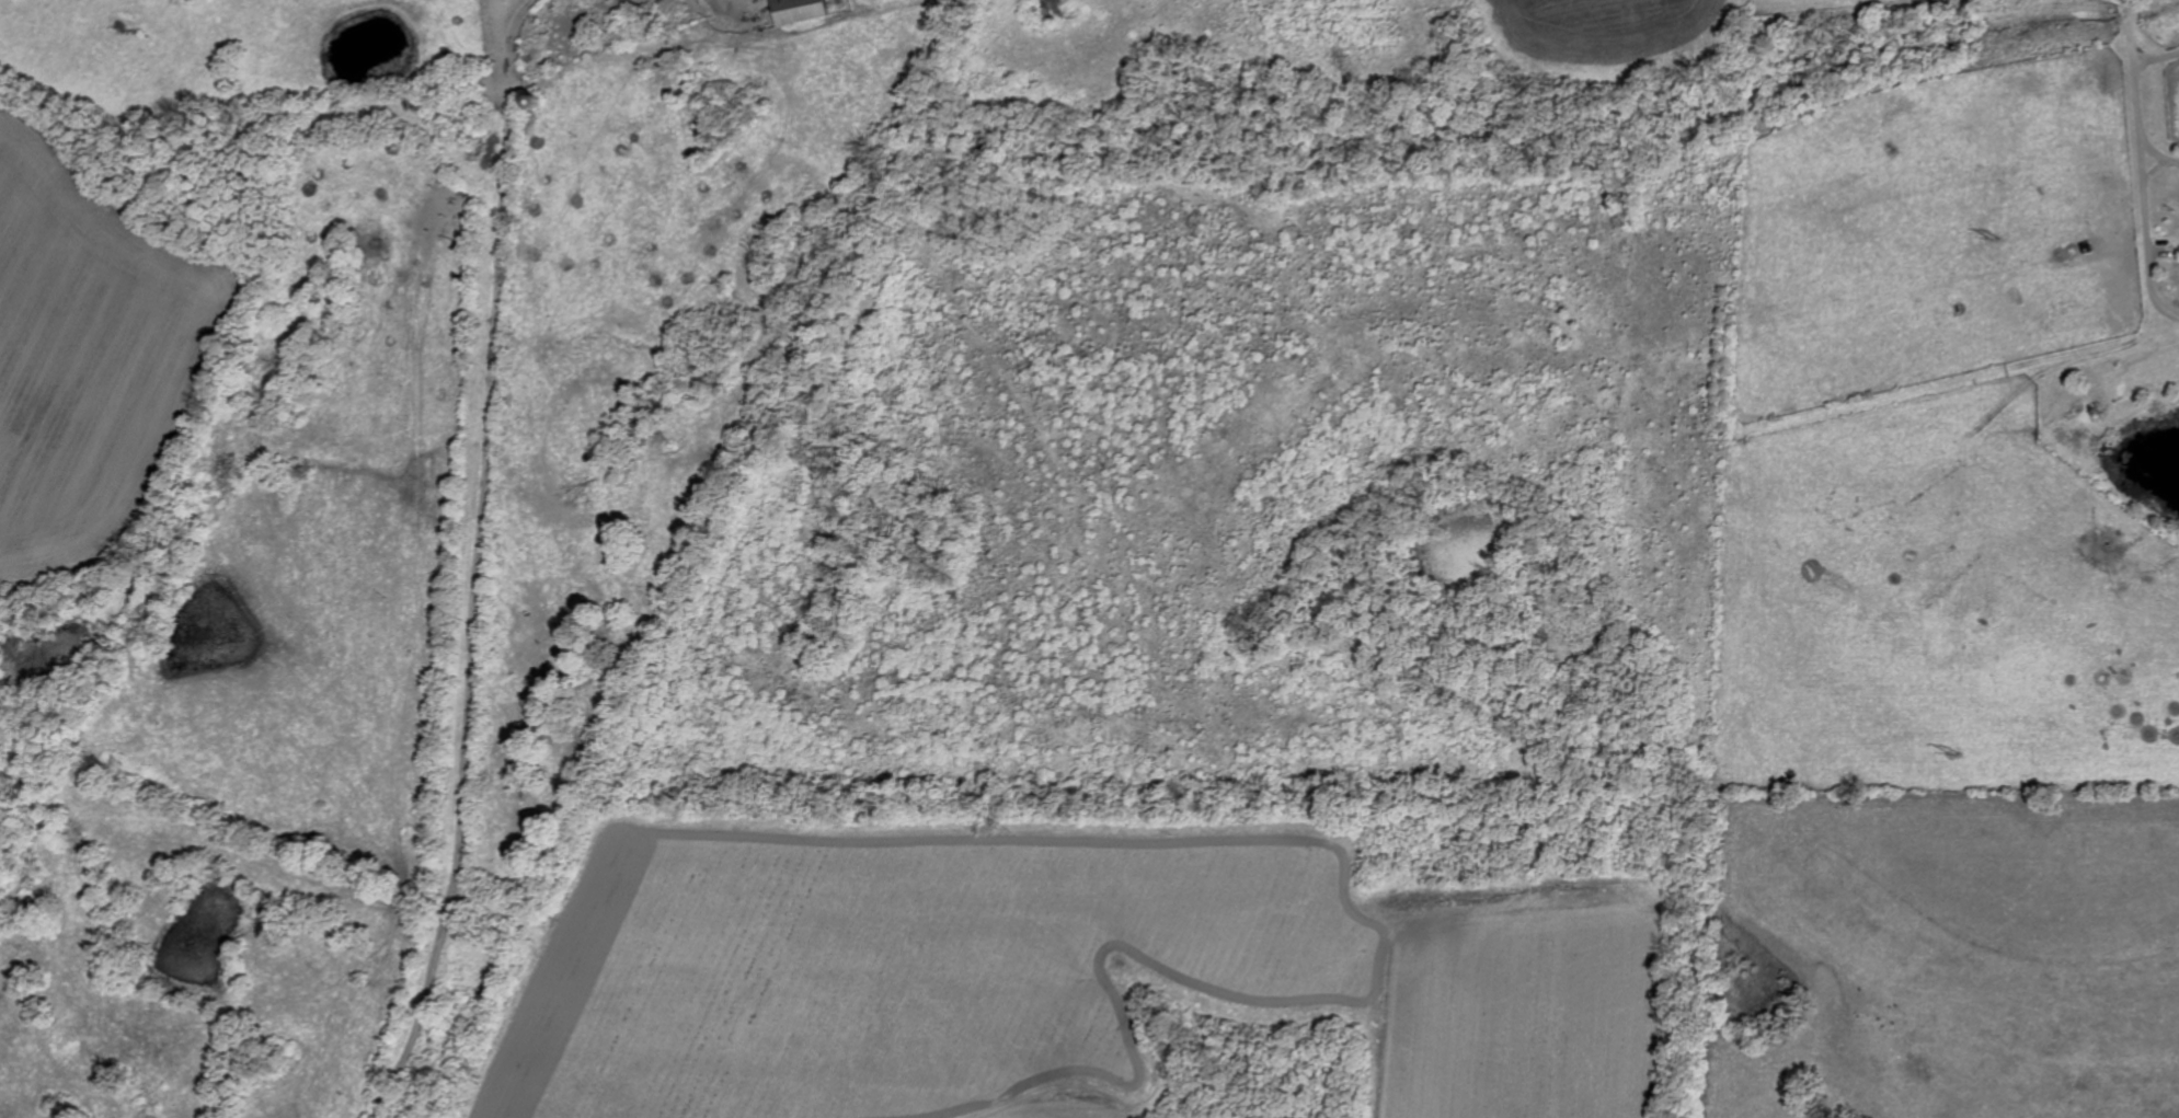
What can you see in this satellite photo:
building: (808, 10)
road: (2147, 34)
road: (2149, 97)

